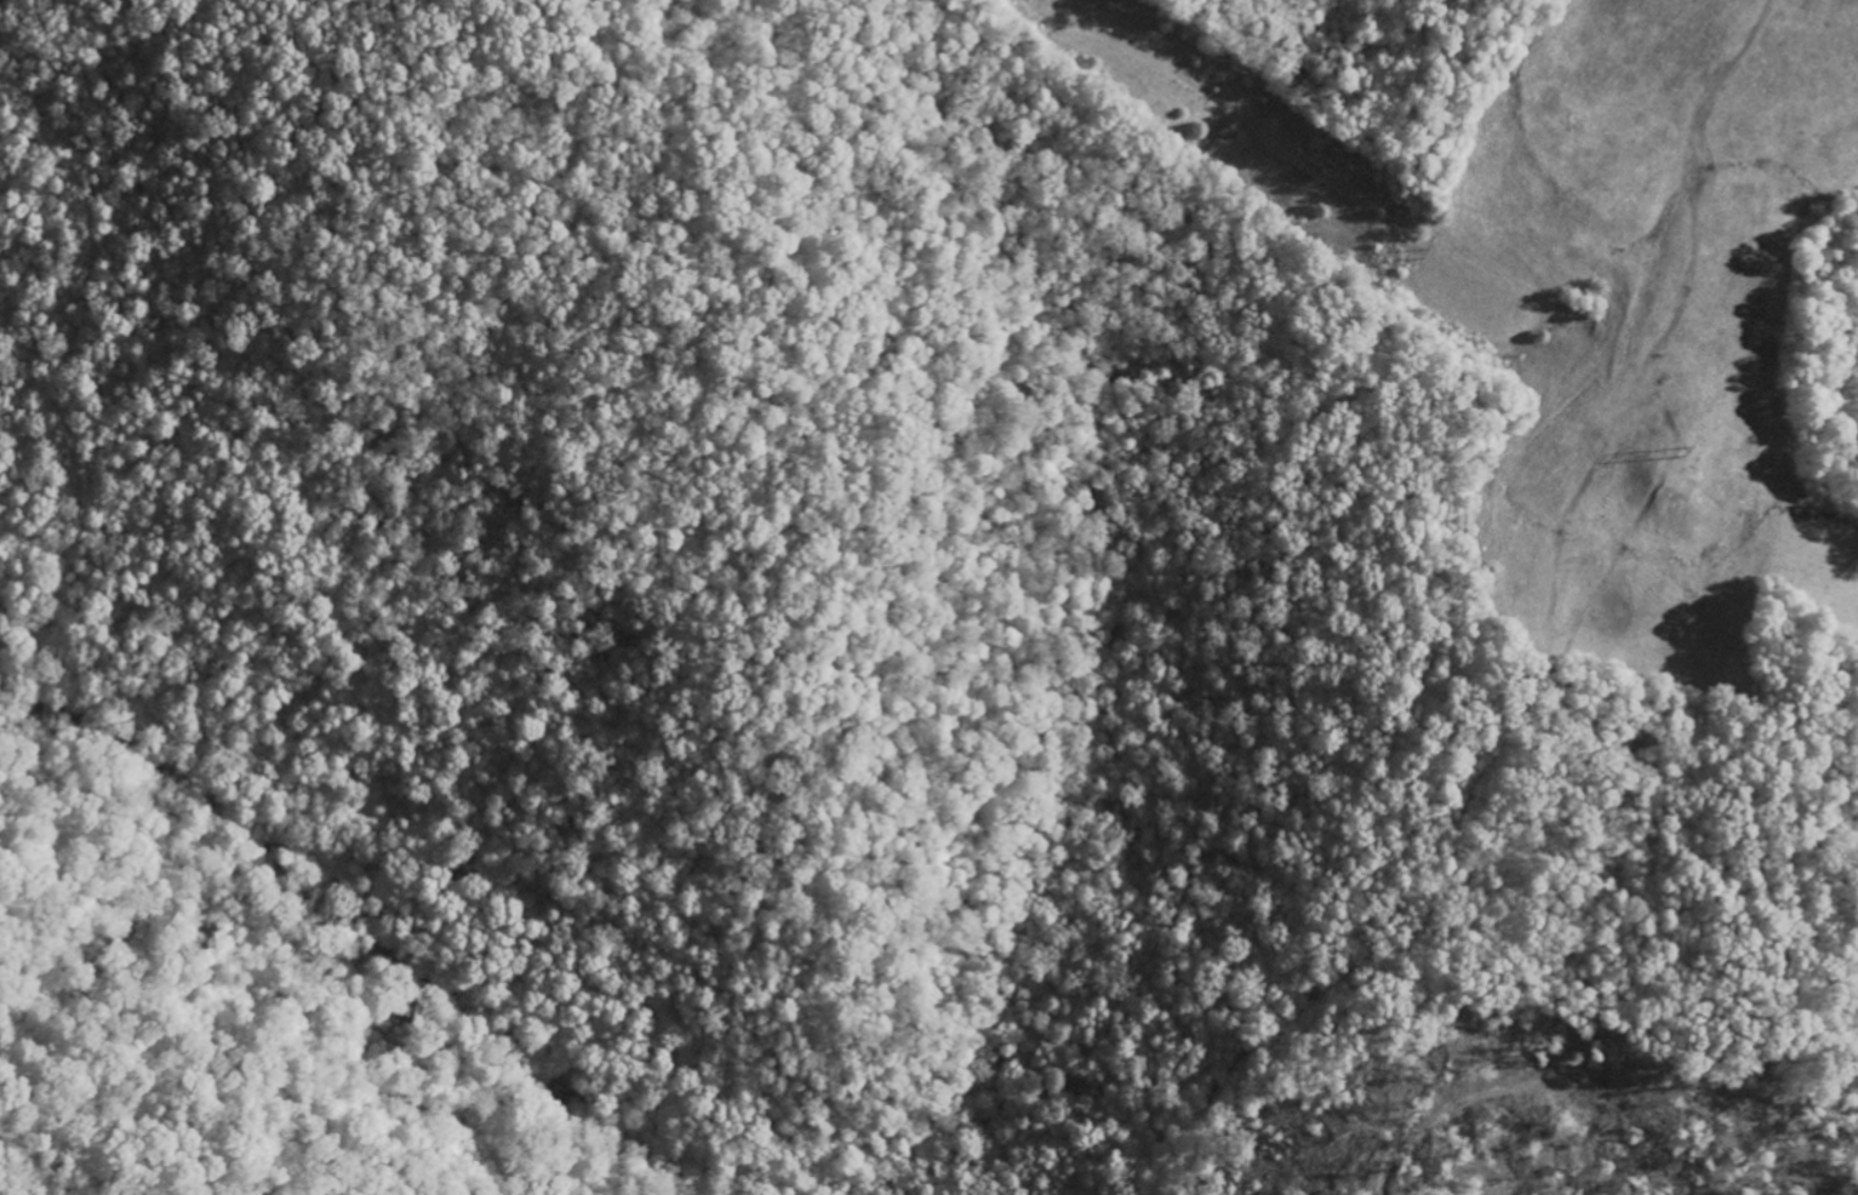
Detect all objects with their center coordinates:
road: (1696, 166)
power tower: (1417, 252)
power tower: (1682, 454)

